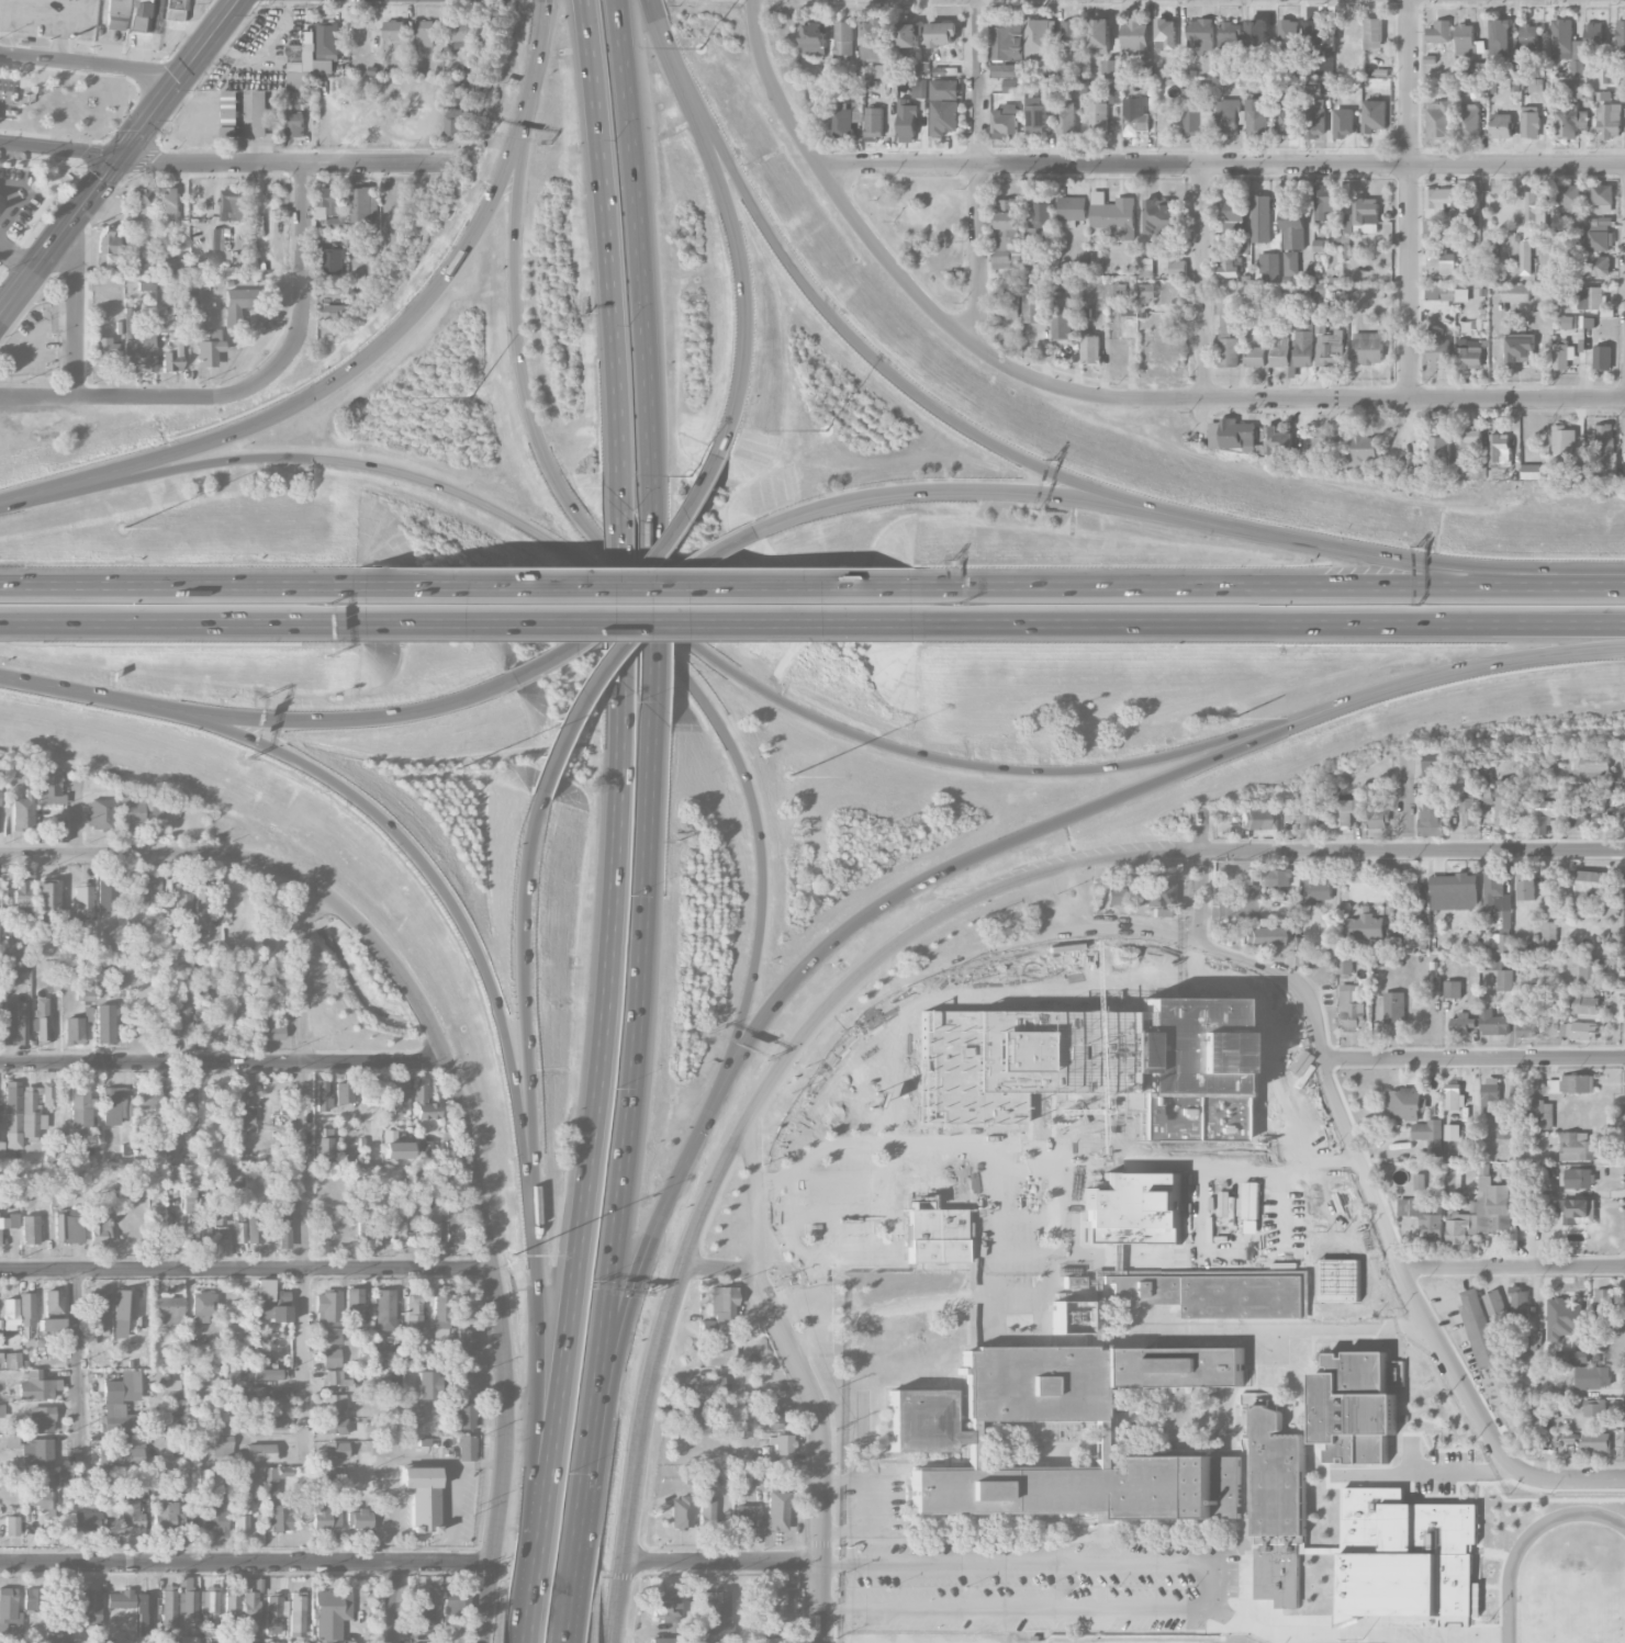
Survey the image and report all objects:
building: (180, 9)
road: (51, 12)
building: (117, 14)
building: (146, 14)
road: (538, 27)
building: (395, 30)
building: (1439, 31)
building: (428, 32)
building: (1072, 32)
building: (1374, 32)
building: (461, 33)
building: (491, 33)
building: (943, 33)
building: (1165, 33)
road: (661, 34)
building: (1135, 34)
building: (1200, 34)
building: (1229, 34)
building: (1257, 34)
building: (1319, 34)
building: (908, 35)
building: (1100, 35)
building: (1499, 36)
building: (1593, 37)
building: (814, 38)
building: (875, 38)
building: (1288, 38)
building: (1466, 38)
building: (1621, 38)
building: (329, 40)
building: (844, 40)
building: (1005, 40)
building: (1040, 40)
building: (1610, 41)
building: (1529, 42)
building: (1567, 45)
building: (307, 64)
road: (89, 65)
building: (1112, 66)
building: (1326, 68)
building: (1477, 68)
building: (1512, 69)
building: (886, 70)
building: (1008, 70)
road: (531, 82)
building: (1013, 83)
building: (1533, 85)
building: (1571, 86)
building: (919, 88)
building: (1477, 88)
road: (7, 97)
building: (944, 106)
building: (232, 112)
building: (261, 113)
building: (1040, 114)
building: (1287, 115)
building: (1376, 115)
building: (1609, 116)
building: (1099, 117)
building: (1229, 117)
building: (1258, 117)
building: (1067, 119)
building: (1315, 119)
building: (1470, 119)
building: (843, 120)
building: (1007, 120)
building: (1441, 120)
building: (1567, 120)
building: (907, 121)
building: (1136, 121)
building: (874, 122)
building: (1193, 122)
building: (1344, 122)
building: (1531, 122)
building: (459, 123)
building: (295, 124)
building: (1501, 125)
road: (60, 148)
traffic signals: (121, 156)
road: (119, 158)
road: (288, 162)
road: (1222, 166)
road: (979, 172)
road: (832, 188)
building: (1600, 194)
building: (1570, 198)
road: (19, 199)
building: (1323, 200)
building: (1438, 201)
building: (142, 202)
road: (749, 202)
building: (234, 203)
building: (170, 204)
building: (333, 204)
building: (363, 204)
building: (1471, 207)
building: (1234, 209)
building: (1073, 210)
building: (1536, 210)
building: (1114, 214)
building: (1161, 215)
building: (1363, 216)
building: (1260, 217)
building: (1605, 220)
building: (1043, 222)
building: (1293, 226)
building: (1432, 226)
building: (1228, 228)
building: (1560, 232)
road: (1410, 233)
road: (607, 236)
building: (217, 238)
building: (110, 240)
building: (1596, 240)
building: (1346, 244)
building: (1321, 245)
building: (1477, 249)
building: (1525, 257)
road: (16, 258)
road: (741, 258)
building: (335, 260)
building: (1444, 261)
building: (1290, 262)
building: (1146, 263)
road: (641, 266)
building: (1230, 266)
building: (1269, 266)
building: (1594, 266)
building: (1031, 267)
building: (1177, 267)
road: (304, 275)
road: (1203, 283)
building: (1118, 290)
building: (1147, 292)
building: (1441, 292)
building: (1515, 292)
building: (1461, 294)
building: (1591, 296)
building: (1032, 304)
road: (77, 306)
building: (238, 306)
building: (1129, 308)
building: (1007, 310)
building: (336, 311)
building: (128, 322)
building: (1569, 322)
building: (1587, 322)
building: (1062, 325)
building: (1303, 325)
building: (1228, 339)
parking lot: (34, 344)
building: (1368, 347)
building: (1520, 347)
building: (1091, 348)
building: (1302, 348)
building: (209, 349)
building: (1329, 349)
building: (1438, 349)
building: (103, 350)
building: (1279, 351)
building: (139, 352)
building: (1470, 353)
building: (1561, 355)
building: (1255, 356)
building: (172, 357)
building: (1602, 357)
road: (327, 385)
road: (136, 394)
road: (1290, 400)
building: (1232, 435)
building: (1604, 438)
building: (1562, 439)
building: (1276, 441)
building: (1469, 447)
building: (1366, 448)
building: (1439, 448)
road: (1006, 450)
building: (1314, 450)
building: (1500, 453)
building: (1609, 463)
building: (1534, 471)
road: (982, 491)
road: (1412, 558)
road: (623, 565)
road: (605, 583)
road: (183, 585)
road: (503, 587)
road: (777, 589)
road: (641, 590)
road: (1270, 592)
road: (181, 623)
road: (775, 623)
road: (1269, 623)
road: (501, 624)
road: (653, 624)
road: (625, 638)
road: (1481, 664)
road: (732, 669)
road: (104, 701)
road: (366, 721)
building: (1589, 764)
building: (1438, 767)
building: (48, 787)
building: (1599, 787)
road: (1405, 800)
building: (1504, 802)
building: (1468, 809)
building: (1583, 809)
building: (23, 811)
building: (1347, 811)
building: (100, 814)
building: (1546, 814)
building: (132, 815)
building: (1310, 817)
building: (1378, 817)
building: (1431, 818)
building: (1256, 819)
road: (80, 824)
building: (56, 832)
road: (1000, 843)
road: (1412, 849)
road: (201, 854)
road: (40, 856)
building: (1277, 878)
building: (1526, 886)
building: (168, 887)
building: (1585, 887)
building: (148, 889)
building: (1318, 890)
building: (1495, 890)
building: (1454, 891)
building: (22, 892)
building: (1157, 893)
building: (1114, 894)
building: (108, 896)
building: (183, 897)
building: (47, 898)
road: (1200, 898)
building: (202, 899)
building: (83, 900)
building: (1365, 926)
building: (1550, 932)
building: (1260, 936)
building: (1503, 939)
building: (1345, 965)
building: (1589, 970)
building: (1505, 979)
building: (1453, 989)
building: (87, 992)
building: (1505, 997)
building: (1583, 1001)
building: (1394, 1006)
building: (1352, 1008)
building: (228, 1010)
building: (182, 1016)
building: (41, 1017)
building: (201, 1017)
building: (1493, 1022)
building: (4, 1023)
building: (21, 1023)
building: (1462, 1023)
building: (105, 1024)
road: (524, 1024)
building: (1527, 1029)
building: (1578, 1029)
building: (74, 1031)
building: (271, 1031)
road: (1321, 1049)
road: (1473, 1059)
road: (224, 1062)
road: (630, 1082)
building: (1572, 1083)
building: (373, 1091)
building: (344, 1092)
building: (1491, 1092)
building: (400, 1093)
building: (323, 1095)
building: (1453, 1095)
building: (147, 1096)
road: (515, 1096)
building: (182, 1102)
building: (1404, 1103)
building: (114, 1104)
building: (423, 1104)
building: (80, 1107)
building: (25, 1111)
building: (242, 1111)
road: (749, 1114)
building: (1542, 1114)
building: (1505, 1129)
road: (591, 1135)
building: (324, 1145)
building: (59, 1146)
building: (1578, 1146)
building: (426, 1148)
building: (396, 1150)
building: (934, 1158)
road: (1119, 1161)
road: (304, 1171)
building: (229, 1177)
building: (1579, 1178)
building: (1420, 1181)
road: (757, 1190)
road: (887, 1191)
building: (1135, 1208)
building: (218, 1211)
building: (284, 1211)
building: (1573, 1211)
building: (1483, 1213)
building: (1259, 1214)
building: (1424, 1216)
building: (9, 1222)
building: (362, 1222)
building: (453, 1222)
building: (1327, 1224)
building: (68, 1227)
building: (99, 1228)
building: (195, 1228)
building: (30, 1229)
building: (254, 1230)
building: (430, 1230)
building: (239, 1233)
building: (283, 1234)
road: (490, 1239)
building: (221, 1245)
road: (638, 1254)
road: (1513, 1268)
road: (718, 1269)
road: (247, 1270)
building: (1073, 1282)
building: (1220, 1294)
building: (352, 1299)
building: (1336, 1299)
building: (1520, 1299)
building: (99, 1302)
building: (271, 1302)
building: (1494, 1302)
building: (204, 1304)
building: (441, 1307)
building: (721, 1307)
building: (26, 1308)
building: (328, 1308)
building: (384, 1309)
building: (52, 1310)
building: (123, 1310)
building: (168, 1310)
building: (413, 1310)
building: (11, 1314)
building: (1603, 1314)
building: (1067, 1317)
building: (1562, 1317)
road: (1278, 1326)
building: (1479, 1329)
building: (332, 1335)
building: (42, 1341)
building: (466, 1341)
building: (720, 1353)
building: (1571, 1355)
building: (330, 1357)
building: (12, 1360)
building: (1173, 1365)
road: (79, 1366)
building: (1360, 1369)
building: (267, 1374)
building: (1593, 1376)
building: (1034, 1384)
building: (427, 1385)
building: (37, 1386)
building: (707, 1386)
building: (264, 1393)
building: (334, 1402)
building: (121, 1403)
building: (1595, 1406)
building: (1351, 1408)
building: (1, 1410)
building: (773, 1413)
building: (413, 1415)
building: (467, 1416)
building: (690, 1417)
building: (41, 1419)
building: (268, 1422)
building: (923, 1423)
building: (335, 1426)
building: (1595, 1441)
building: (1095, 1443)
building: (223, 1444)
building: (782, 1444)
building: (466, 1448)
building: (1359, 1448)
road: (822, 1449)
building: (336, 1450)
building: (36, 1452)
building: (123, 1452)
building: (259, 1452)
road: (424, 1461)
road: (481, 1467)
road: (1423, 1471)
building: (284, 1472)
building: (205, 1475)
building: (333, 1477)
building: (64, 1479)
road: (1569, 1479)
building: (270, 1481)
building: (177, 1484)
building: (1147, 1484)
building: (41, 1490)
building: (424, 1497)
building: (109, 1503)
building: (247, 1508)
building: (776, 1510)
building: (214, 1512)
building: (681, 1512)
building: (706, 1513)
building: (326, 1516)
building: (130, 1517)
building: (166, 1517)
building: (278, 1517)
building: (359, 1518)
building: (747, 1518)
parking lot: (394, 1520)
building: (86, 1521)
building: (240, 1523)
building: (11, 1526)
road: (576, 1545)
building: (1409, 1556)
road: (246, 1561)
road: (724, 1563)
road: (829, 1563)
road: (606, 1573)
track: (1510, 1575)
road: (500, 1578)
road: (1203, 1585)
building: (35, 1599)
building: (120, 1599)
building: (232, 1602)
road: (392, 1602)
building: (774, 1602)
building: (8, 1603)
building: (664, 1605)
building: (168, 1606)
building: (188, 1606)
building: (210, 1606)
building: (91, 1607)
building: (144, 1607)
building: (250, 1607)
park: (1578, 1607)
building: (422, 1608)
road: (829, 1608)
building: (456, 1610)
building: (332, 1612)
building: (276, 1613)
building: (296, 1613)
road: (500, 1613)
road: (594, 1613)
building: (714, 1617)
road: (524, 1627)
building: (57, 1632)
building: (189, 1639)
building: (330, 1641)

